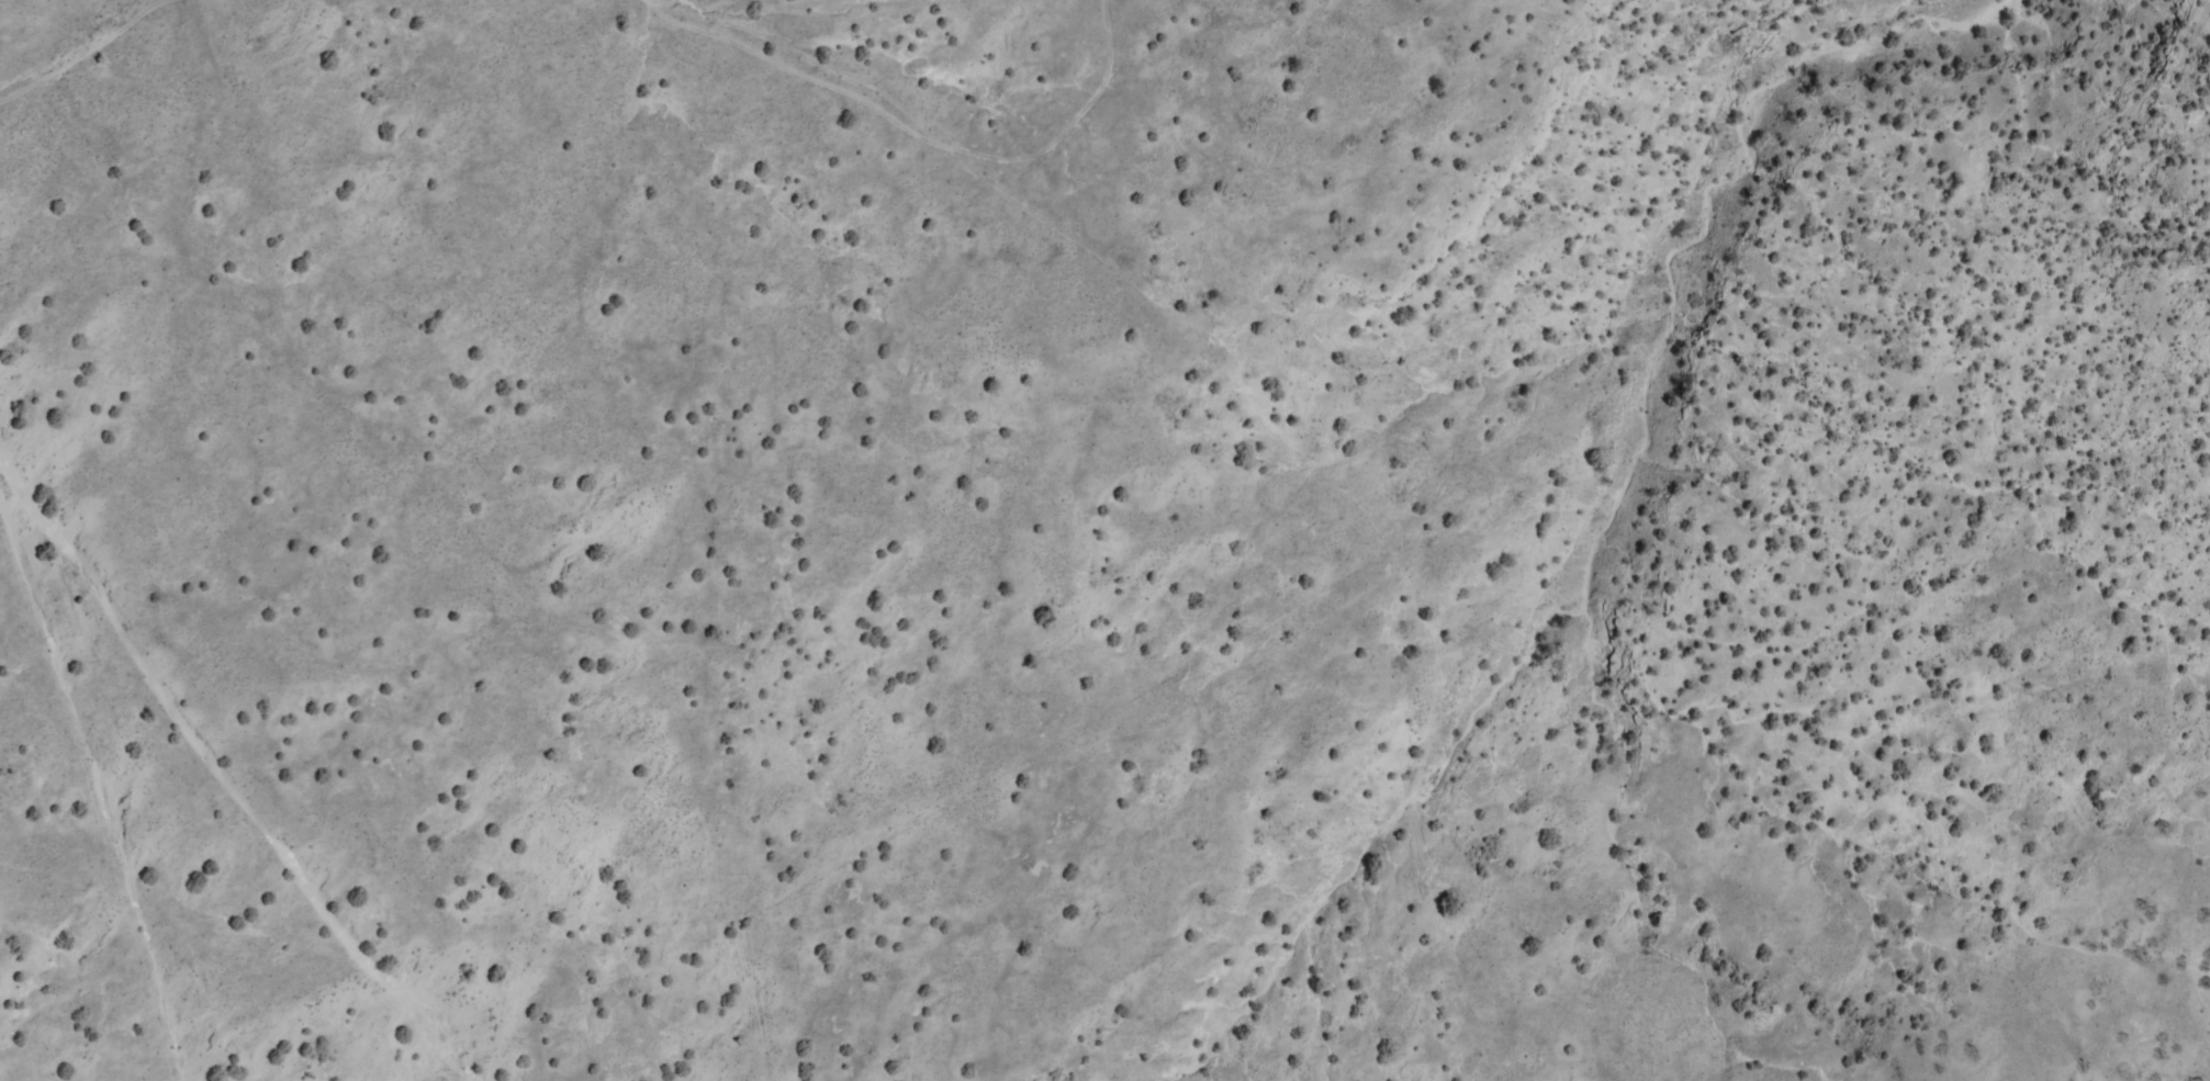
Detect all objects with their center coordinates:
road: (123, 736)

